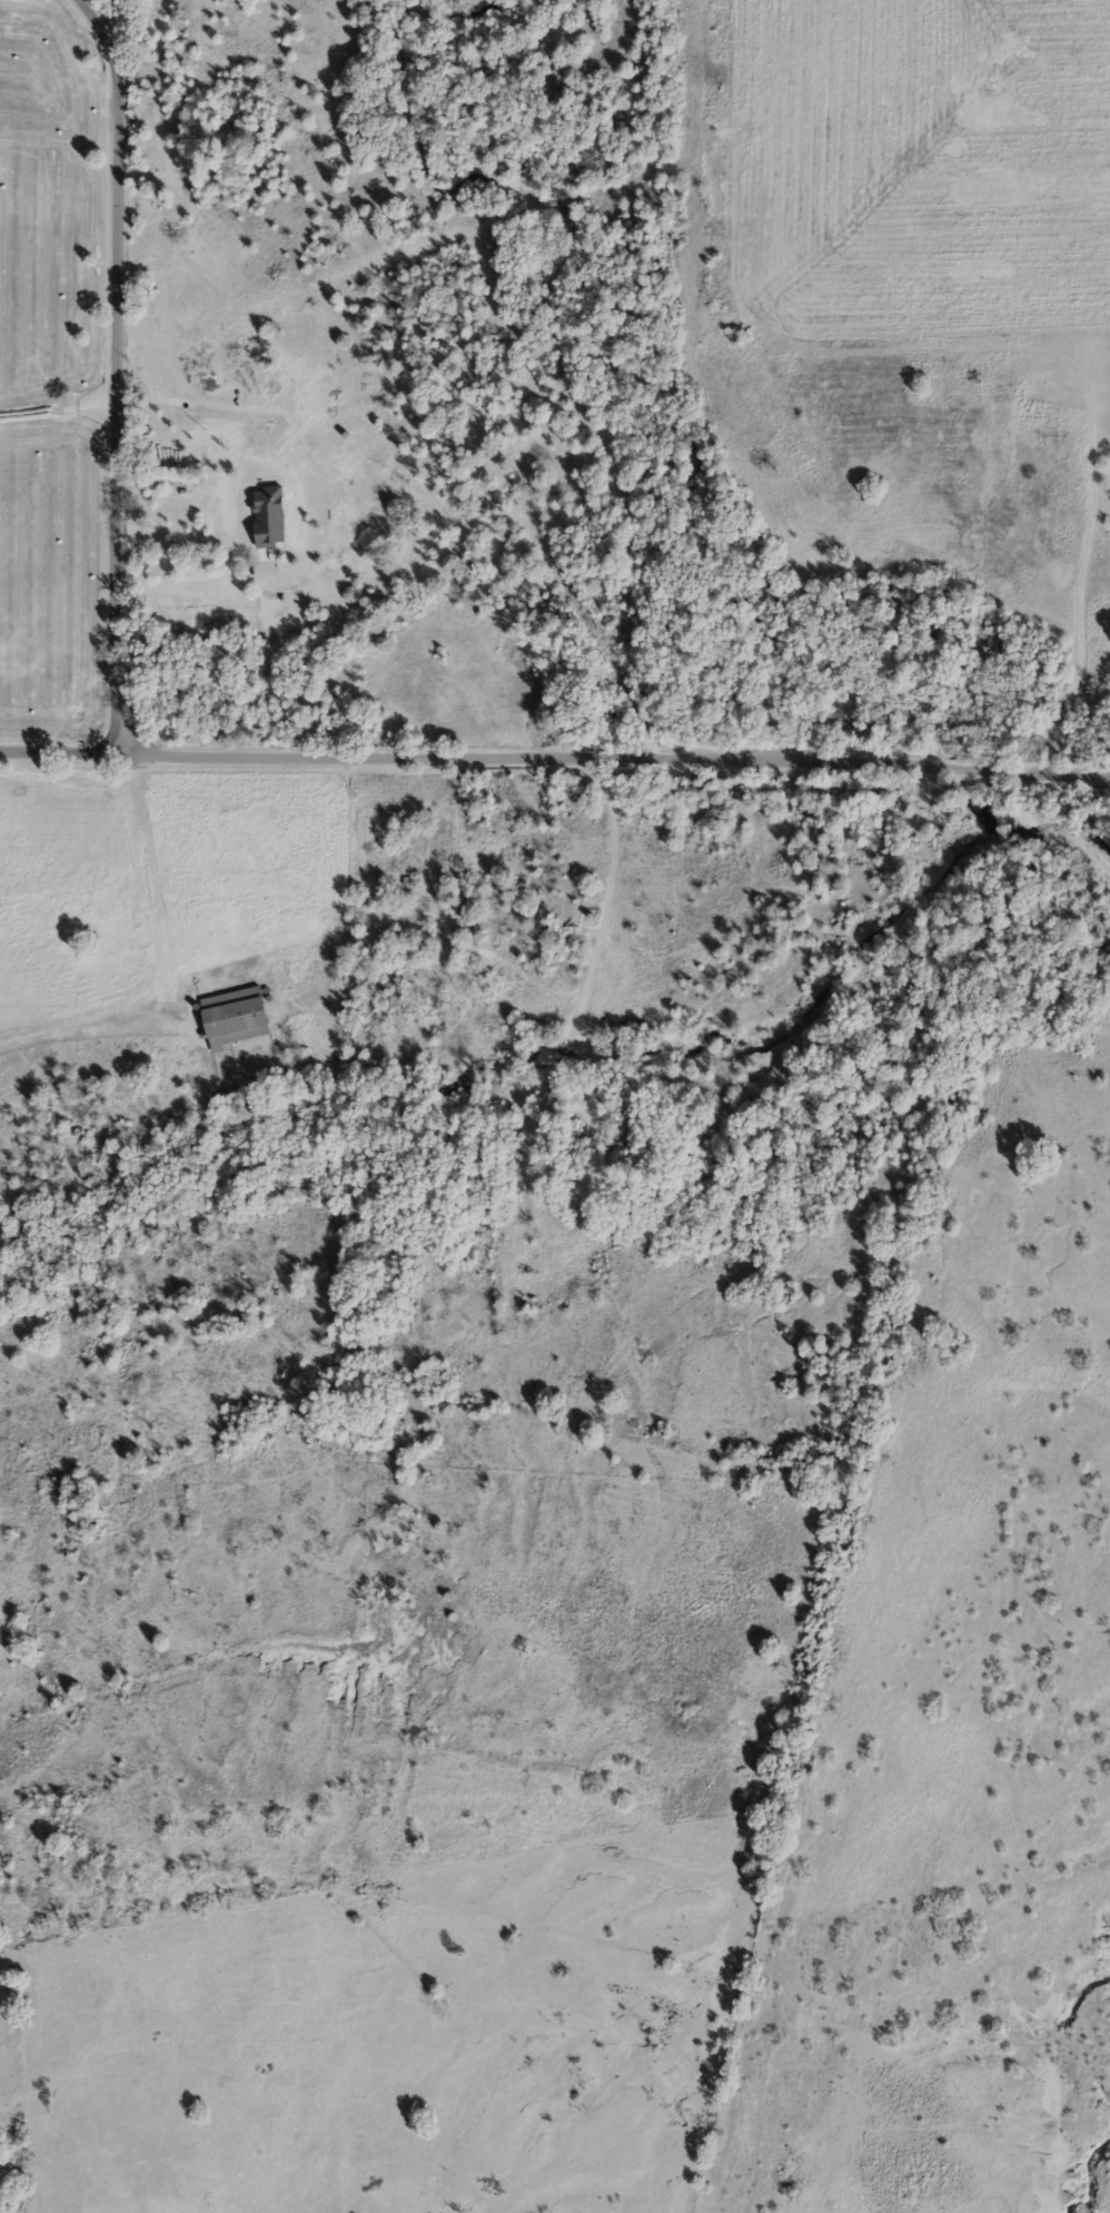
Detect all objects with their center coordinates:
road: (110, 371)
building: (169, 508)
road: (189, 586)
road: (58, 748)
road: (613, 758)
building: (231, 1018)

